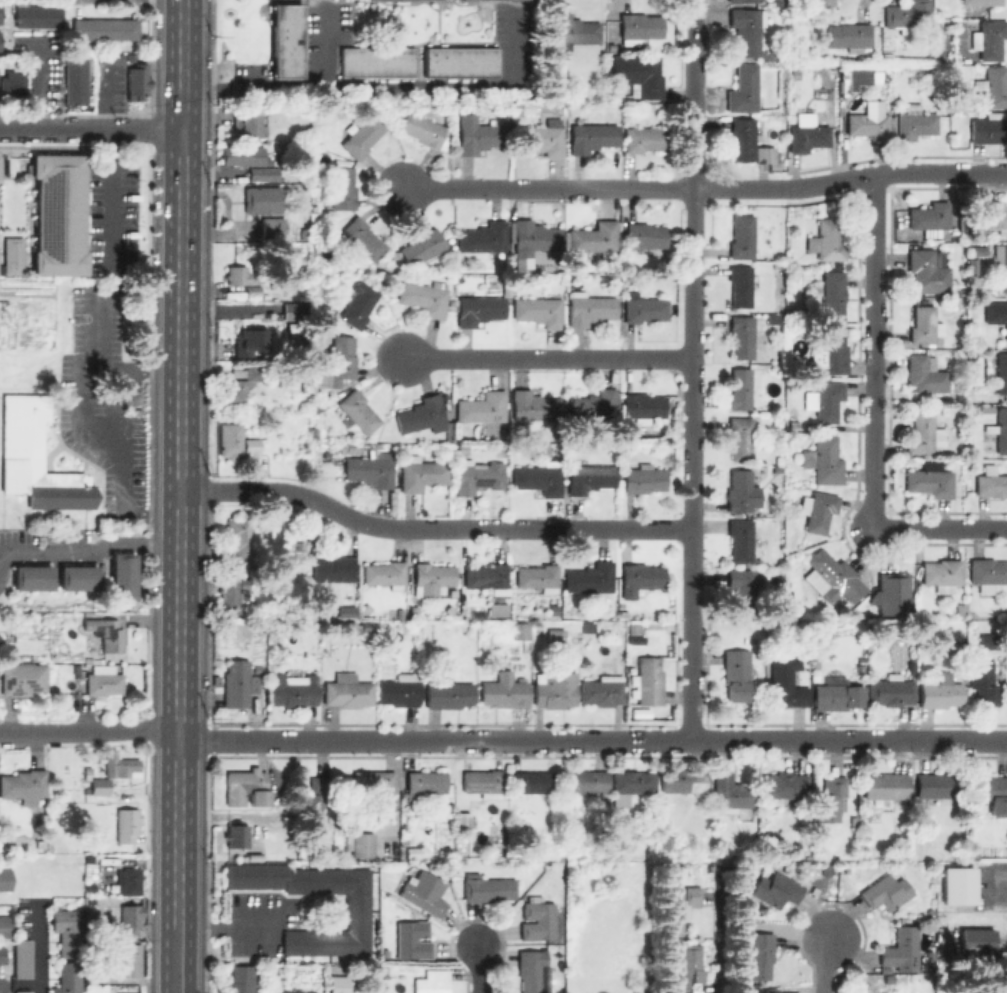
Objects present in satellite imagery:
building: (745, 0)
building: (822, 2)
building: (981, 2)
building: (907, 14)
building: (36, 16)
building: (106, 27)
building: (639, 28)
building: (748, 29)
building: (573, 32)
building: (850, 36)
building: (989, 39)
building: (284, 41)
building: (771, 55)
building: (866, 57)
building: (374, 61)
building: (458, 61)
road: (182, 65)
building: (883, 72)
building: (793, 74)
building: (643, 75)
building: (138, 80)
building: (73, 81)
road: (287, 83)
road: (451, 84)
building: (14, 85)
building: (992, 87)
building: (744, 90)
building: (244, 122)
building: (915, 122)
building: (869, 126)
building: (989, 127)
road: (90, 131)
building: (425, 131)
building: (808, 134)
building: (591, 135)
building: (479, 136)
building: (363, 137)
building: (644, 139)
building: (542, 140)
building: (750, 143)
building: (241, 154)
road: (940, 172)
building: (230, 174)
building: (264, 174)
road: (825, 182)
building: (343, 188)
road: (588, 189)
road: (107, 198)
building: (261, 199)
building: (60, 213)
building: (996, 216)
building: (929, 217)
building: (272, 228)
building: (304, 233)
building: (362, 235)
building: (536, 236)
building: (645, 236)
building: (742, 237)
building: (484, 239)
building: (597, 239)
building: (827, 241)
building: (423, 247)
building: (14, 254)
building: (1001, 261)
building: (928, 270)
road: (181, 273)
building: (293, 277)
building: (604, 278)
building: (243, 279)
building: (741, 286)
building: (814, 288)
building: (834, 296)
building: (425, 297)
building: (359, 305)
building: (590, 308)
building: (645, 308)
road: (692, 308)
building: (480, 309)
building: (291, 310)
building: (328, 311)
building: (540, 311)
building: (997, 316)
building: (924, 324)
building: (742, 337)
building: (251, 341)
building: (832, 351)
road: (875, 351)
road: (544, 358)
building: (342, 360)
building: (924, 373)
building: (1001, 374)
building: (242, 383)
building: (741, 389)
building: (824, 400)
building: (533, 405)
building: (594, 406)
building: (483, 407)
building: (644, 407)
building: (359, 411)
building: (423, 415)
road: (81, 429)
building: (313, 430)
building: (999, 431)
building: (922, 432)
building: (741, 438)
building: (238, 440)
building: (450, 446)
building: (544, 447)
road: (180, 454)
building: (34, 457)
building: (824, 461)
building: (372, 469)
building: (422, 474)
building: (479, 476)
building: (589, 478)
building: (537, 479)
building: (644, 479)
building: (930, 479)
building: (991, 481)
building: (742, 492)
building: (818, 511)
road: (941, 528)
road: (431, 529)
building: (240, 539)
building: (741, 540)
road: (90, 553)
building: (298, 558)
building: (335, 569)
building: (942, 572)
building: (266, 573)
building: (386, 574)
building: (434, 574)
building: (987, 574)
building: (119, 575)
building: (642, 576)
building: (30, 577)
building: (76, 577)
building: (488, 577)
building: (539, 577)
building: (833, 577)
building: (590, 578)
building: (746, 589)
building: (891, 593)
building: (232, 594)
building: (959, 608)
building: (499, 610)
building: (344, 611)
road: (179, 612)
building: (365, 625)
building: (350, 627)
building: (587, 627)
building: (634, 627)
building: (387, 629)
building: (522, 631)
building: (469, 632)
building: (106, 633)
building: (556, 636)
road: (690, 640)
building: (989, 641)
building: (77, 672)
building: (737, 674)
building: (23, 677)
building: (983, 680)
building: (648, 681)
building: (787, 681)
building: (104, 682)
building: (238, 684)
building: (402, 690)
building: (555, 690)
building: (603, 690)
building: (891, 690)
building: (294, 691)
building: (349, 691)
building: (505, 692)
building: (941, 692)
building: (837, 694)
building: (449, 695)
road: (690, 702)
road: (89, 731)
road: (592, 741)
building: (121, 764)
building: (684, 780)
building: (427, 781)
building: (96, 782)
building: (532, 782)
building: (485, 783)
building: (587, 784)
building: (631, 784)
building: (785, 784)
building: (24, 785)
building: (887, 785)
building: (938, 785)
building: (248, 788)
building: (378, 791)
building: (991, 792)
building: (731, 794)
building: (831, 798)
building: (316, 801)
building: (464, 820)
building: (128, 824)
road: (177, 830)
building: (237, 835)
building: (666, 842)
building: (363, 845)
building: (4, 879)
building: (132, 880)
building: (956, 885)
building: (91, 886)
building: (488, 888)
building: (776, 889)
building: (886, 892)
building: (425, 893)
building: (679, 902)
building: (358, 911)
building: (539, 919)
building: (128, 920)
building: (4, 926)
road: (226, 928)
building: (65, 931)
building: (413, 939)
building: (977, 940)
road: (35, 945)
building: (900, 948)
road: (723, 950)
building: (3, 953)
building: (760, 955)
building: (128, 957)
building: (22, 958)
road: (176, 960)
road: (823, 962)
road: (481, 967)
building: (385, 968)
building: (533, 969)
building: (691, 969)
building: (372, 975)
building: (68, 977)
building: (242, 978)
building: (339, 982)
building: (433, 982)
building: (772, 990)
building: (23, 991)
building: (637, 991)

